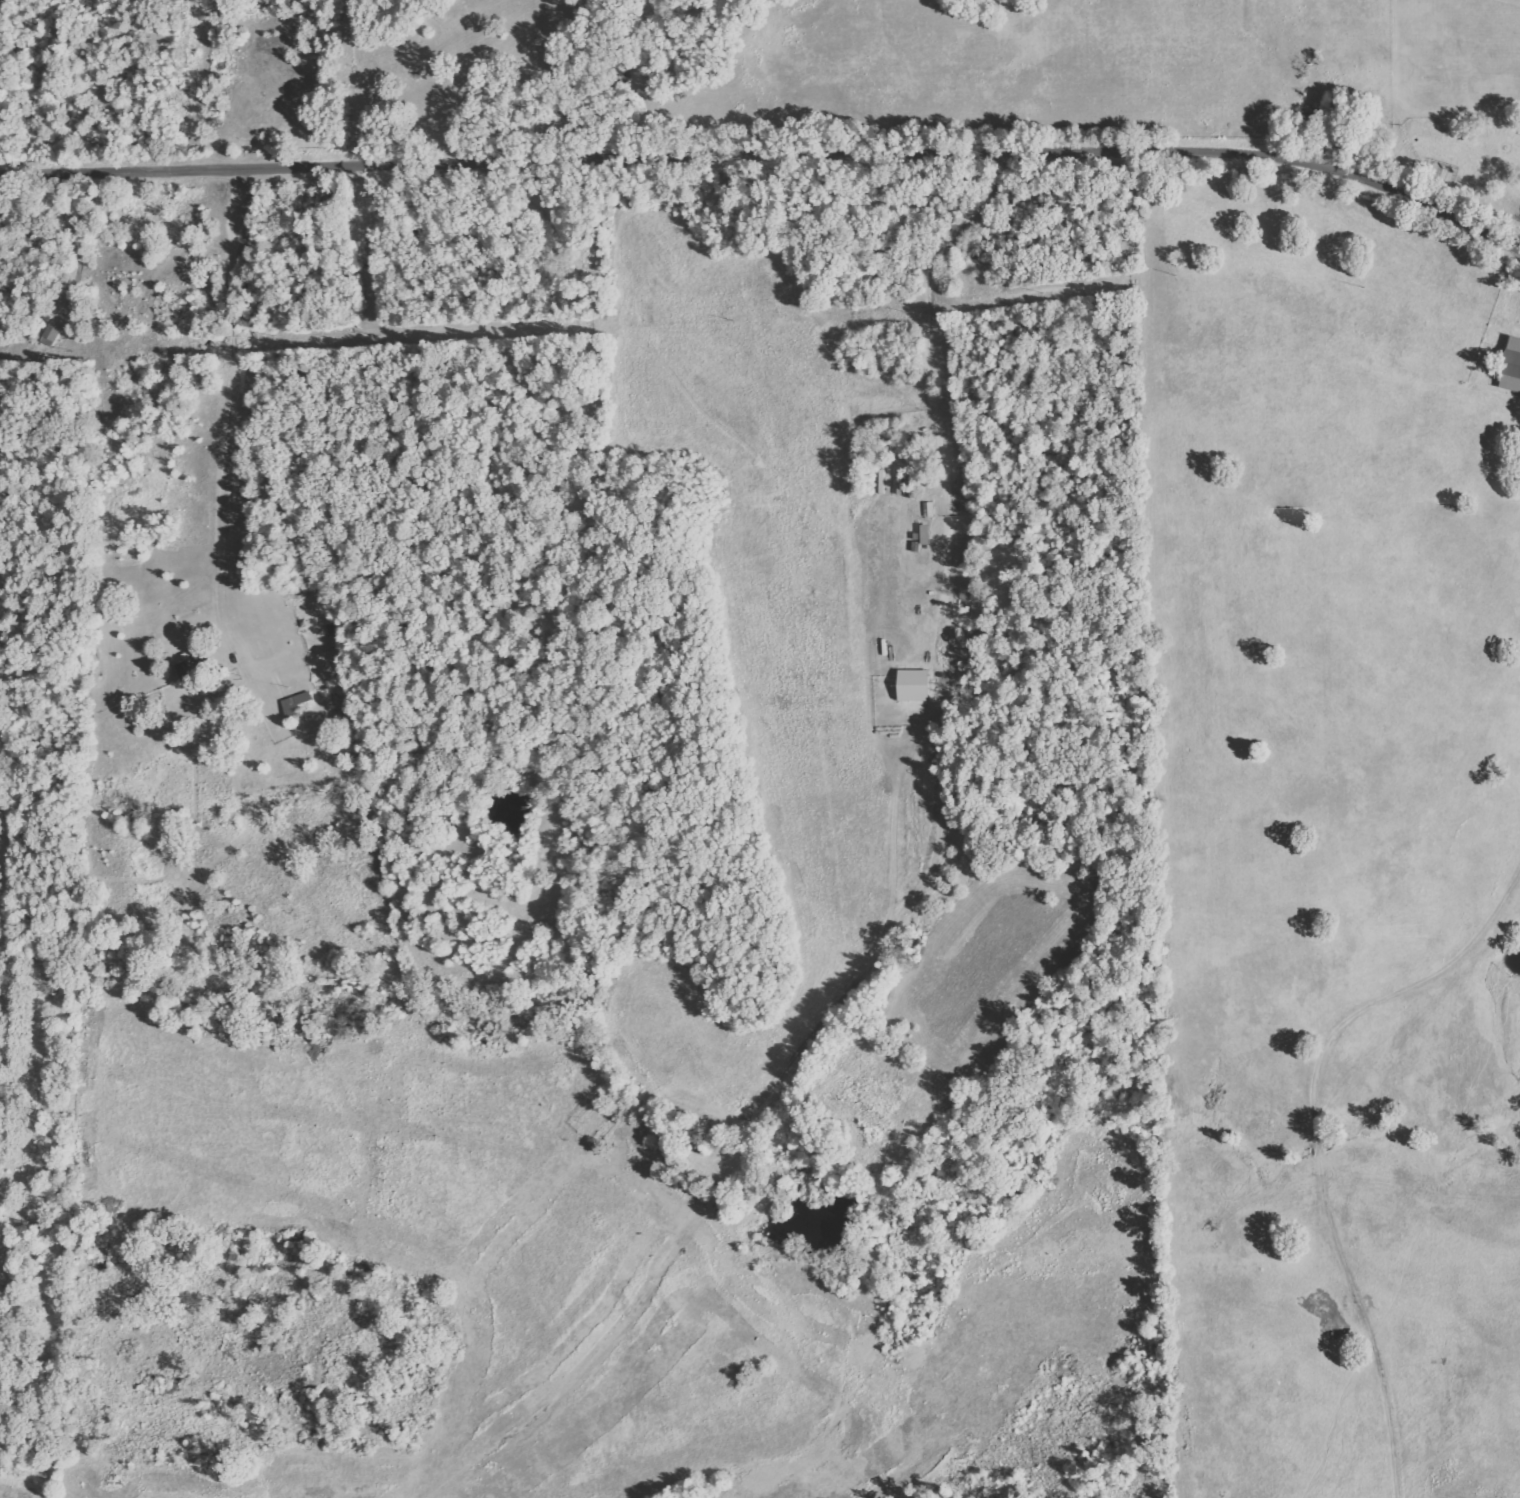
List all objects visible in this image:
road: (604, 79)
road: (769, 155)
building: (1514, 368)
building: (929, 509)
road: (927, 657)
building: (196, 666)
building: (917, 684)
building: (297, 702)

